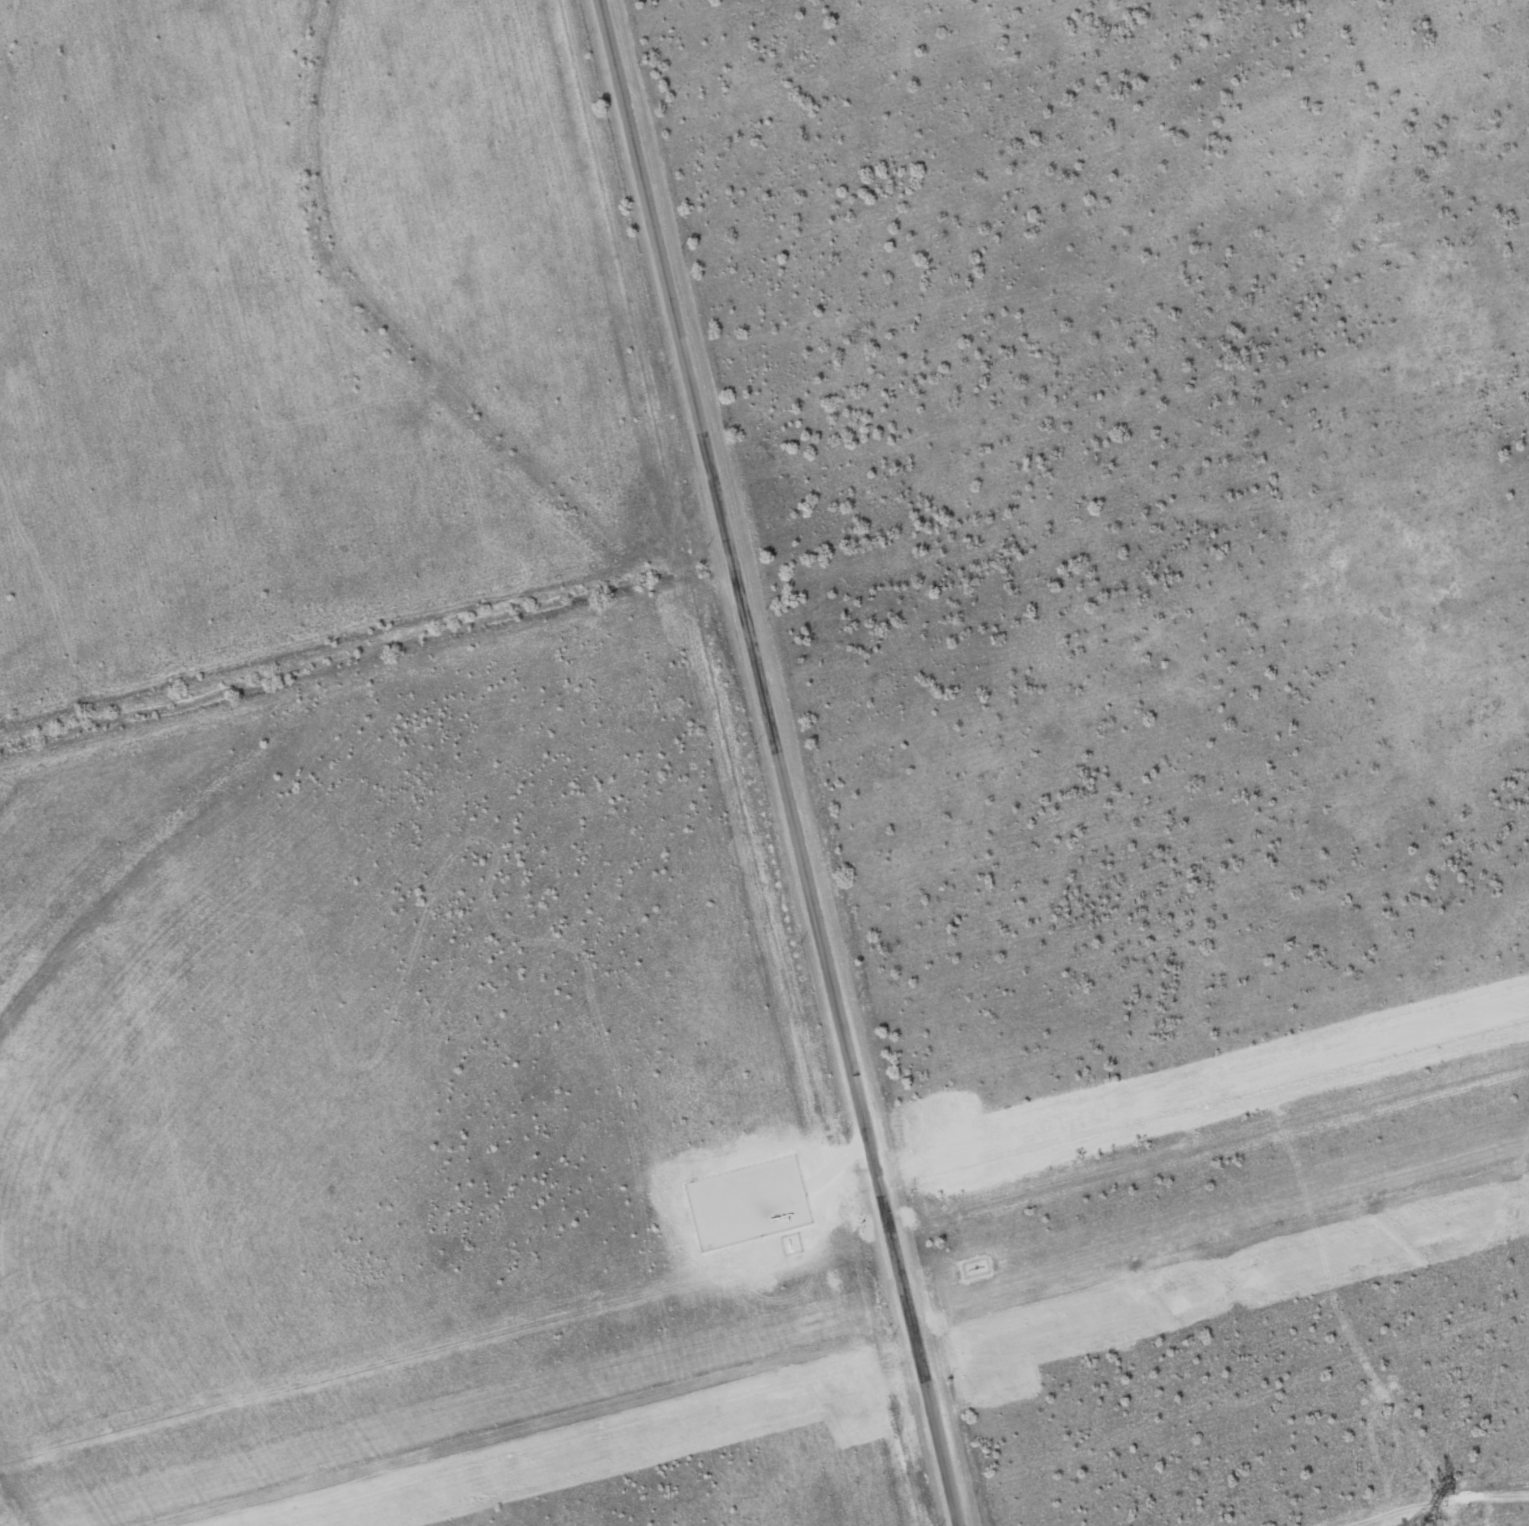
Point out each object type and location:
road: (366, 663)
road: (780, 761)

